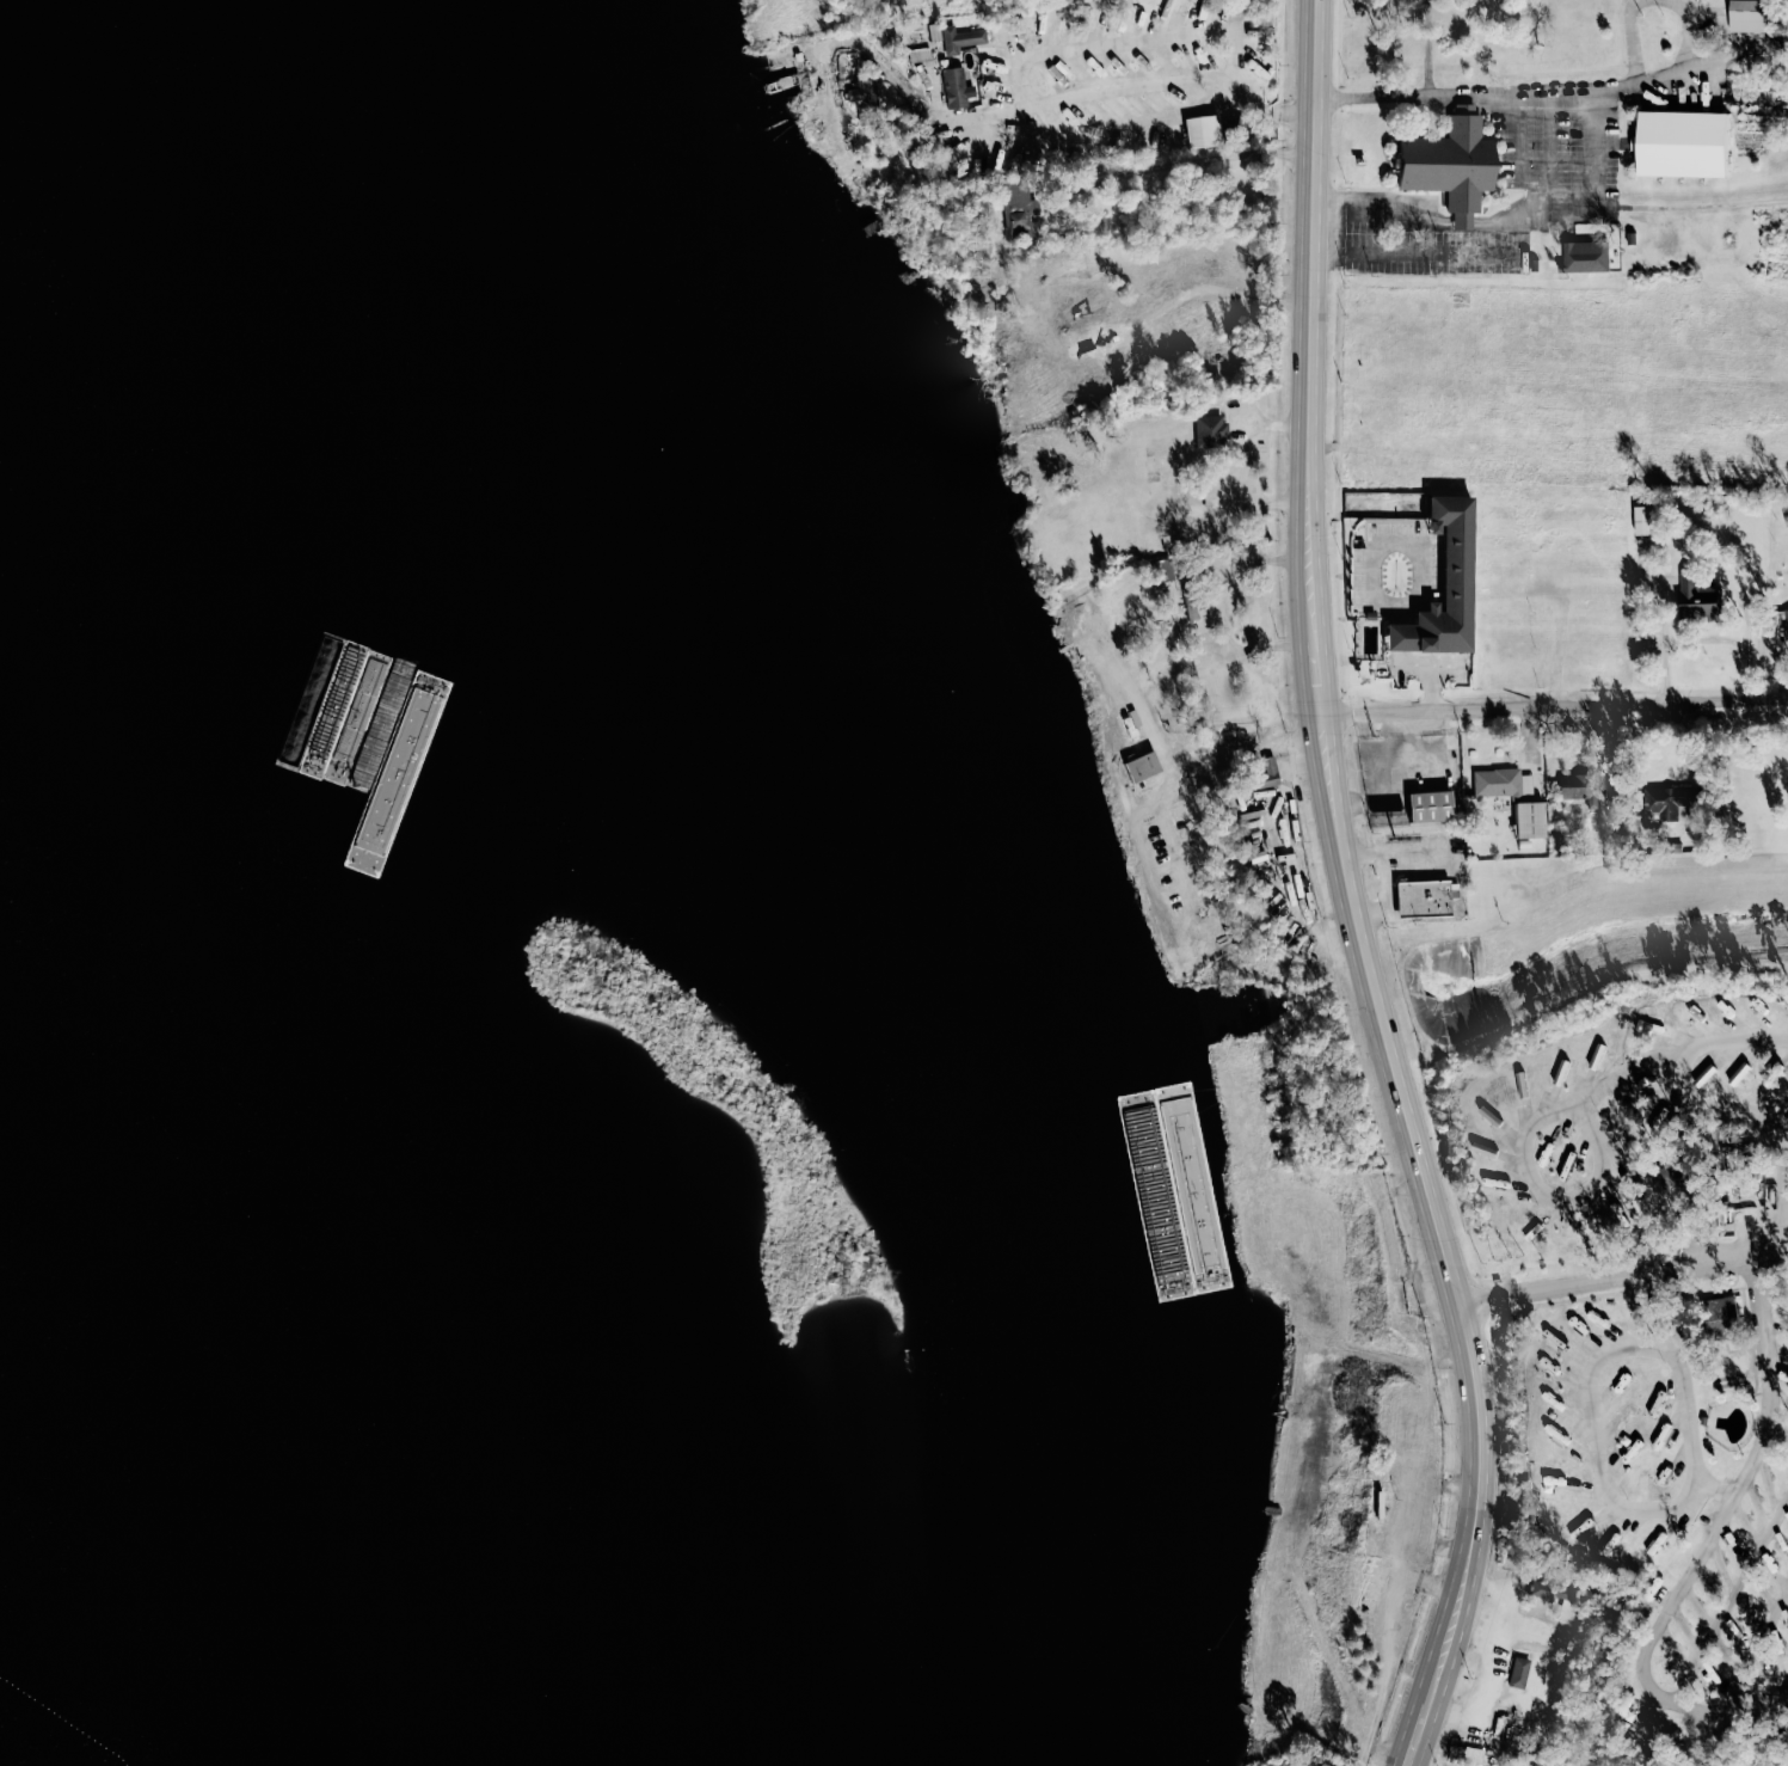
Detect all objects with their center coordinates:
building: (1747, 16)
road: (1685, 31)
building: (934, 32)
building: (960, 38)
road: (1630, 39)
building: (1002, 50)
building: (918, 54)
building: (799, 57)
building: (954, 87)
road: (1536, 94)
building: (865, 98)
road: (1025, 102)
building: (1203, 133)
road: (1081, 136)
building: (1683, 143)
road: (1520, 149)
road: (1547, 151)
building: (1449, 160)
road: (1194, 161)
road: (1595, 192)
road: (1409, 217)
building: (1019, 219)
building: (1461, 220)
road: (1311, 250)
road: (1430, 255)
building: (1584, 256)
building: (1086, 292)
road: (1272, 427)
building: (1211, 431)
road: (1251, 505)
building: (1643, 520)
building: (1786, 520)
road: (1307, 529)
building: (1188, 536)
building: (1147, 546)
building: (1163, 571)
building: (1444, 584)
road: (1375, 589)
building: (1696, 596)
building: (1190, 605)
road: (1221, 606)
building: (1783, 623)
road: (1703, 638)
road: (1553, 703)
road: (1243, 748)
road: (1296, 760)
building: (1142, 768)
road: (1171, 769)
building: (1267, 772)
building: (1497, 783)
building: (1590, 787)
building: (1673, 803)
building: (1431, 808)
building: (1247, 821)
building: (1529, 821)
road: (1289, 859)
road: (1385, 879)
building: (1425, 900)
road: (1676, 1054)
road: (1763, 1120)
road: (1420, 1165)
building: (1671, 1177)
road: (1547, 1197)
road: (1623, 1274)
building: (1720, 1318)
road: (1596, 1359)
river: (177, 1496)
road: (1706, 1543)
building: (1550, 1589)
building: (1371, 1593)
road: (1731, 1598)
road: (1755, 1648)
road: (1327, 1650)
building: (1518, 1672)
road: (1783, 1700)
building: (1516, 1735)
landfill: (37, 1736)
building: (1765, 1740)
building: (1728, 1746)
building: (1464, 1752)

